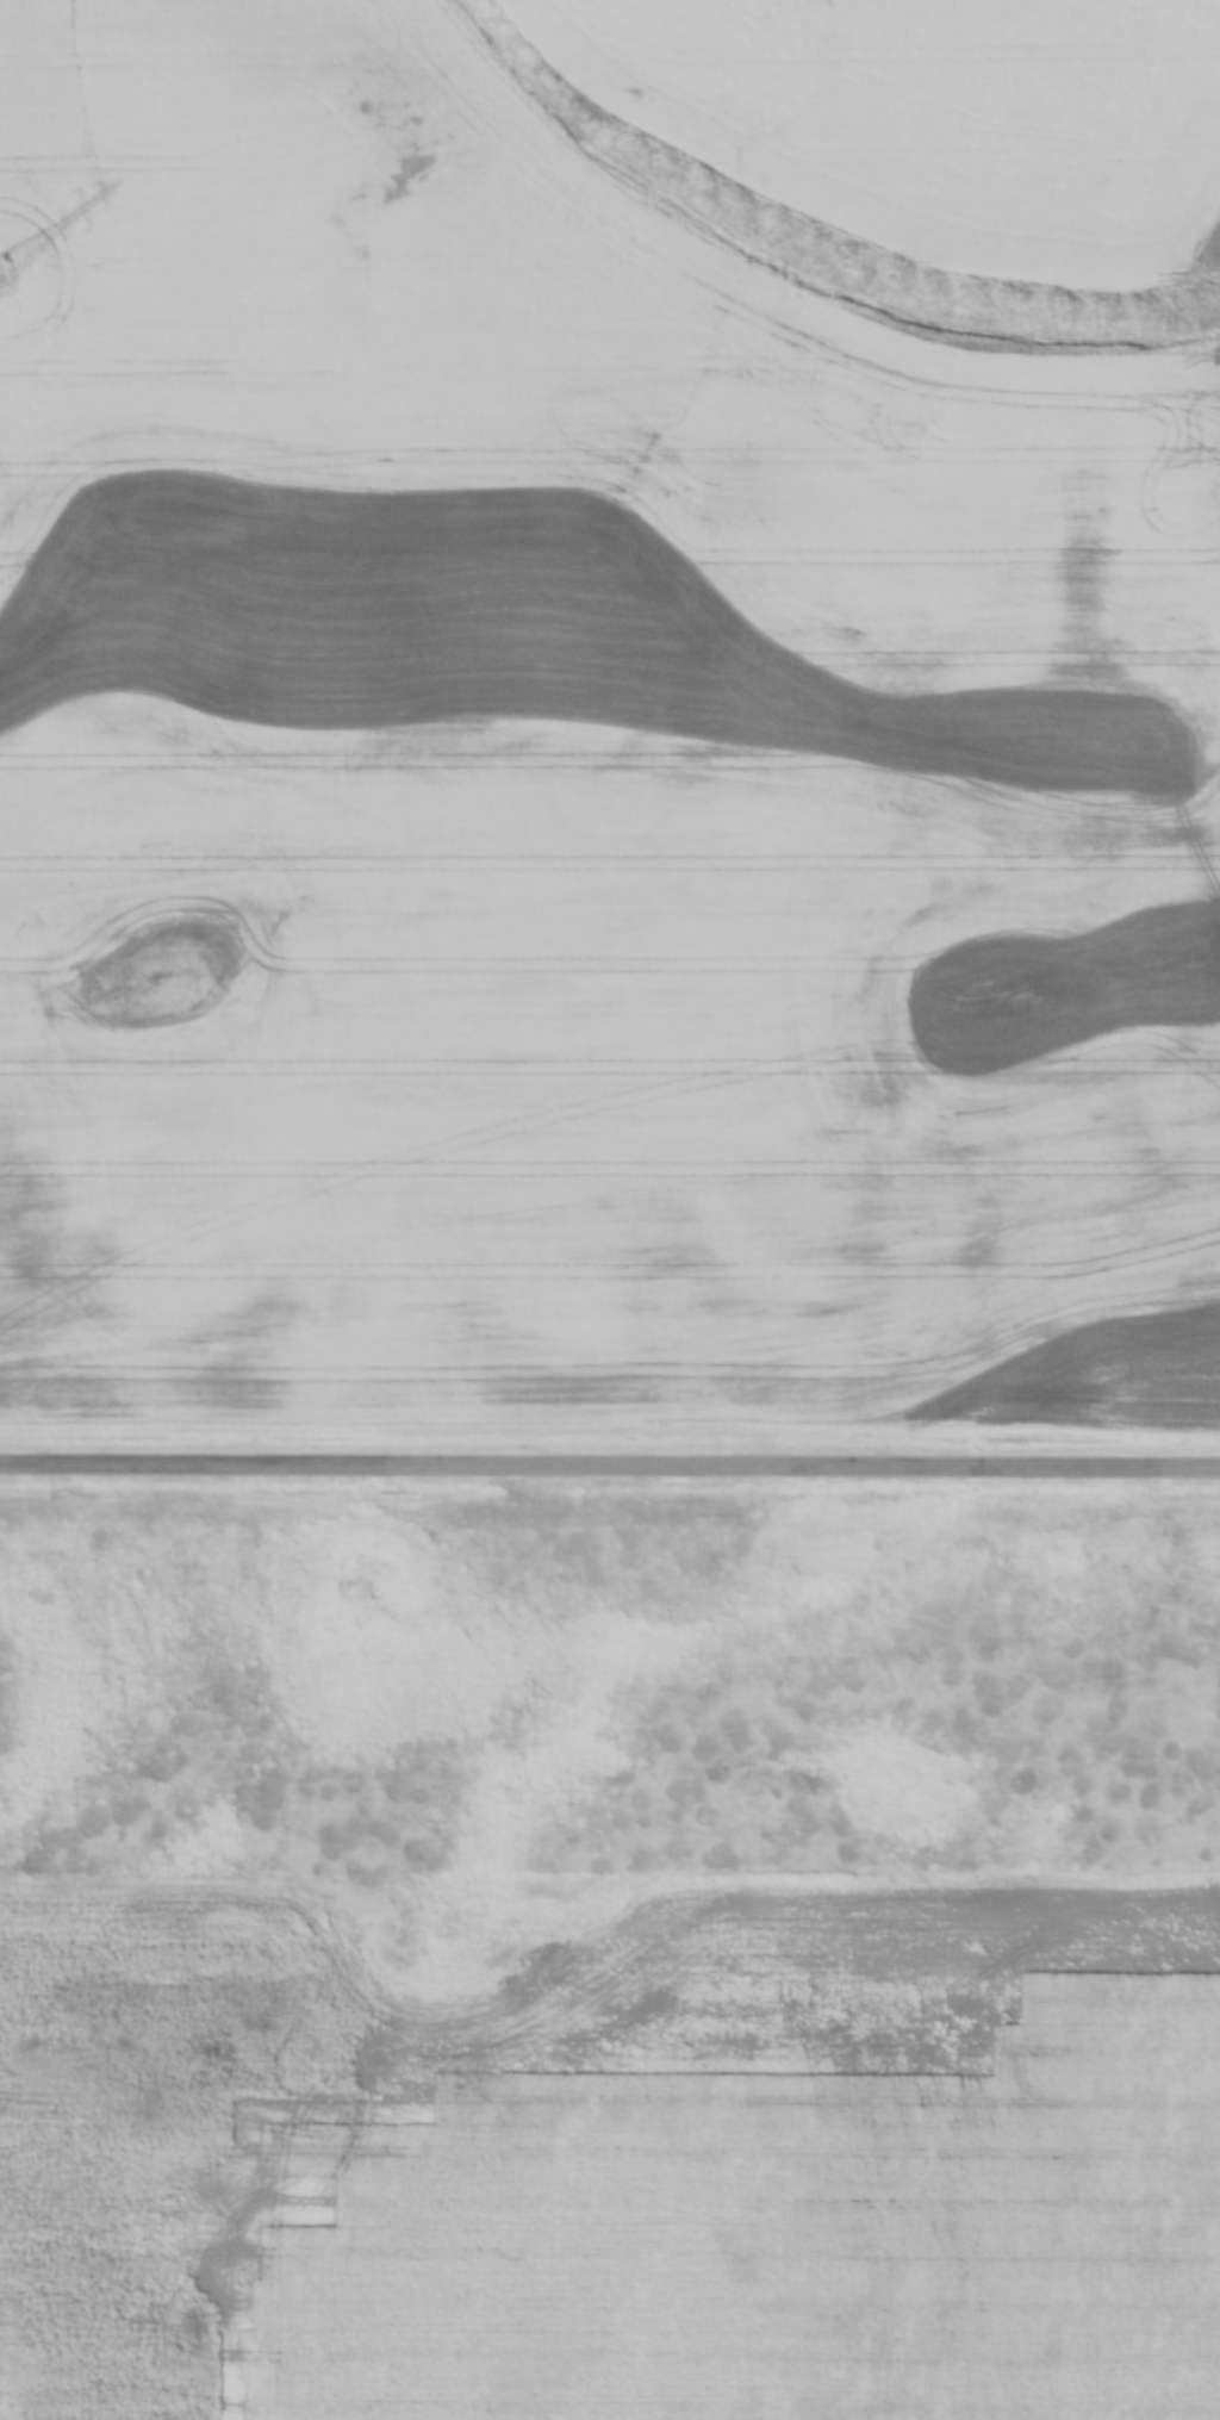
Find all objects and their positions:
road: (610, 1463)

